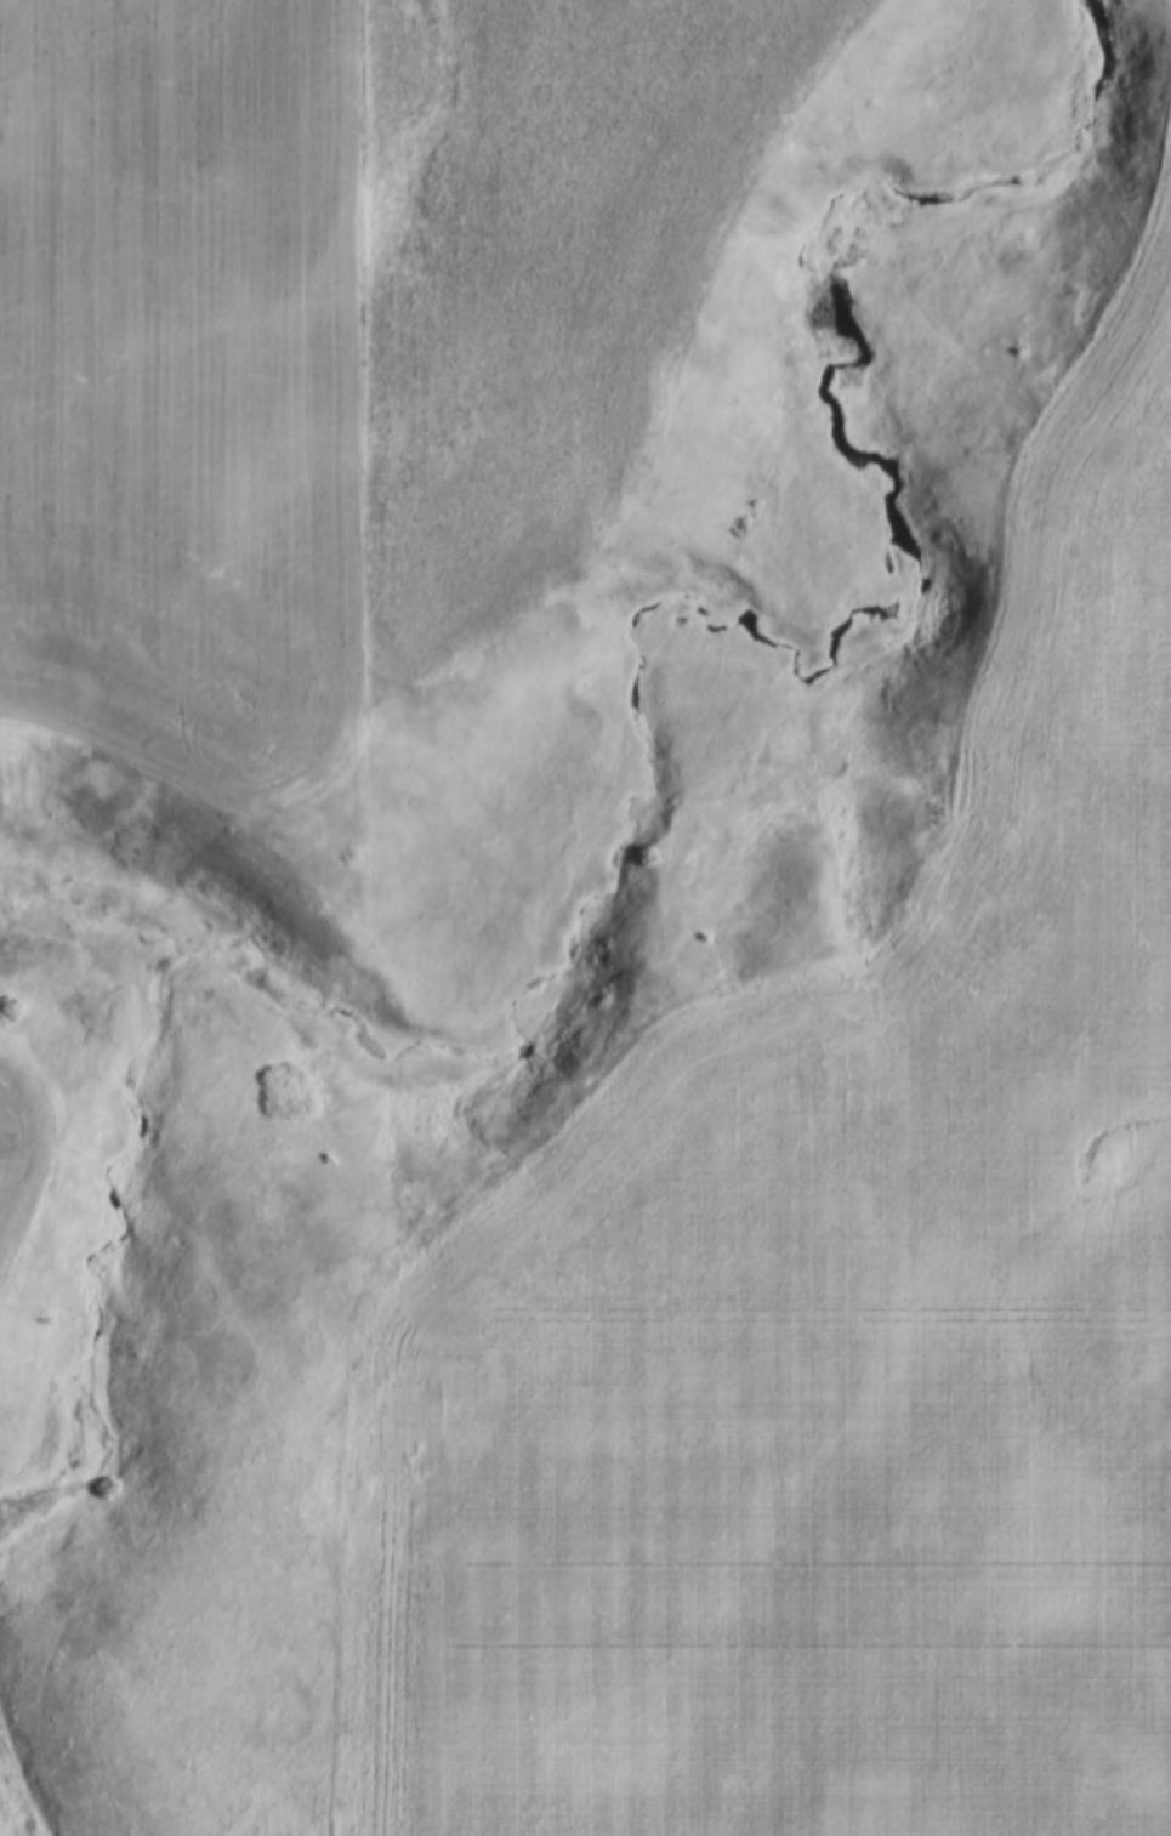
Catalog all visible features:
road: (726, 239)
road: (791, 343)

